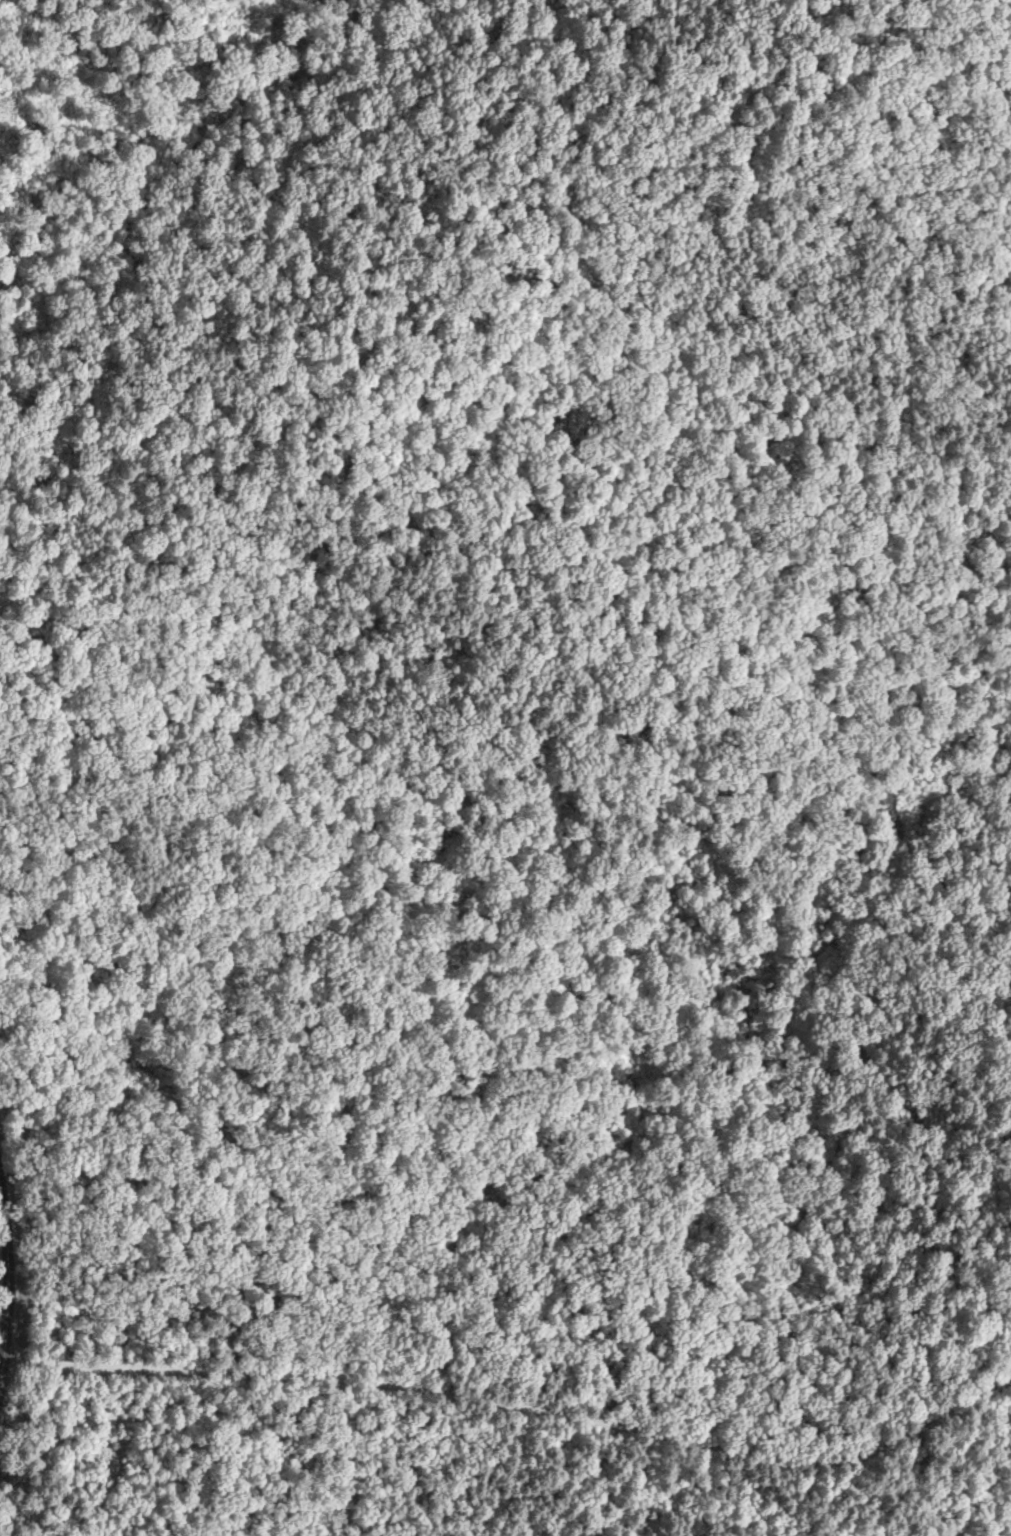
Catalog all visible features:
road: (425, 285)
road: (6, 1315)
road: (514, 1434)

